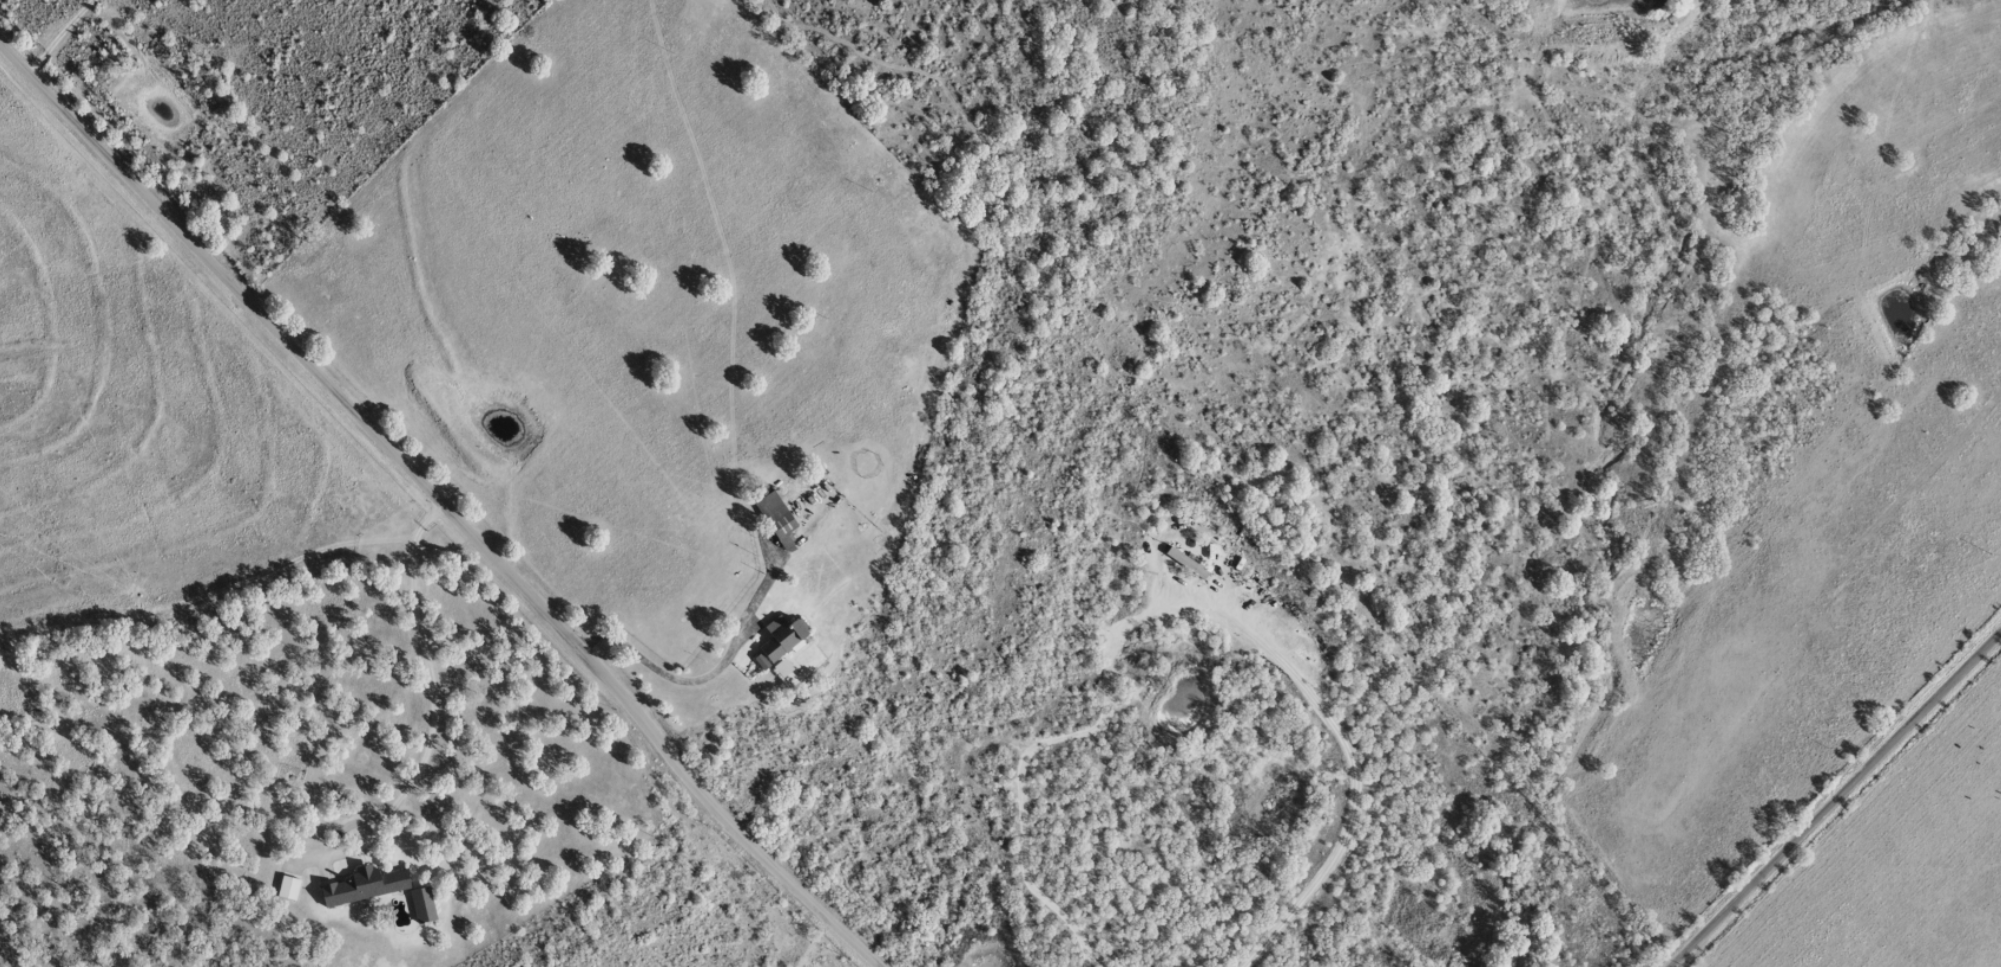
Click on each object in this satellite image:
road: (64, 33)
road: (445, 508)
building: (774, 521)
road: (893, 545)
building: (1181, 562)
building: (778, 641)
building: (778, 667)
road: (1834, 798)
building: (360, 885)
building: (285, 887)
building: (419, 904)

